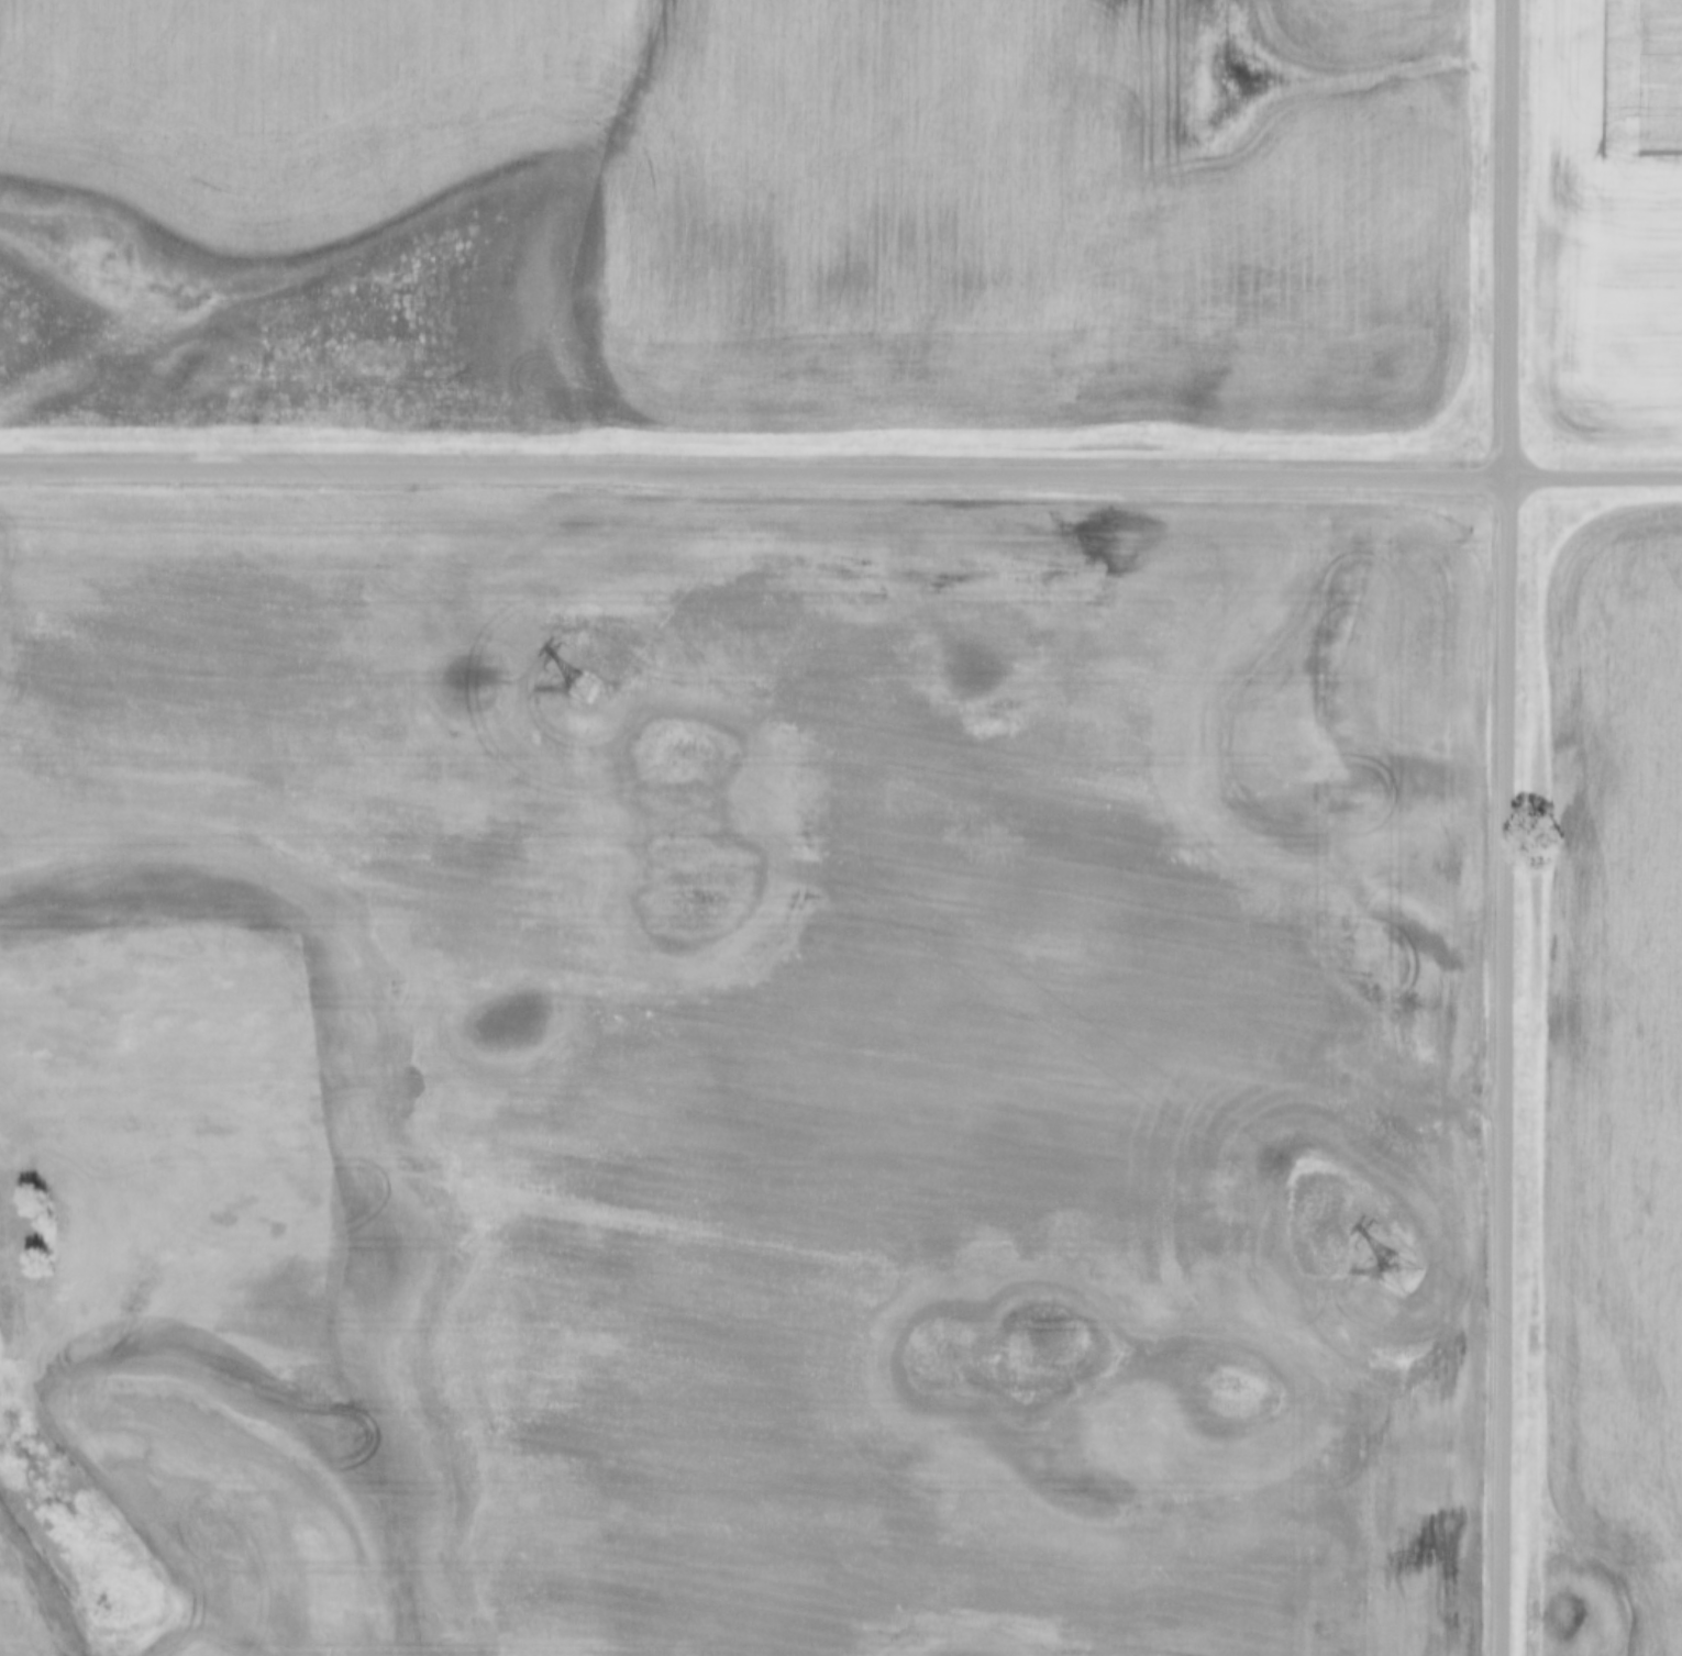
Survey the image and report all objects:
road: (840, 471)
power tower: (588, 687)
road: (1509, 827)
power tower: (1402, 1269)

